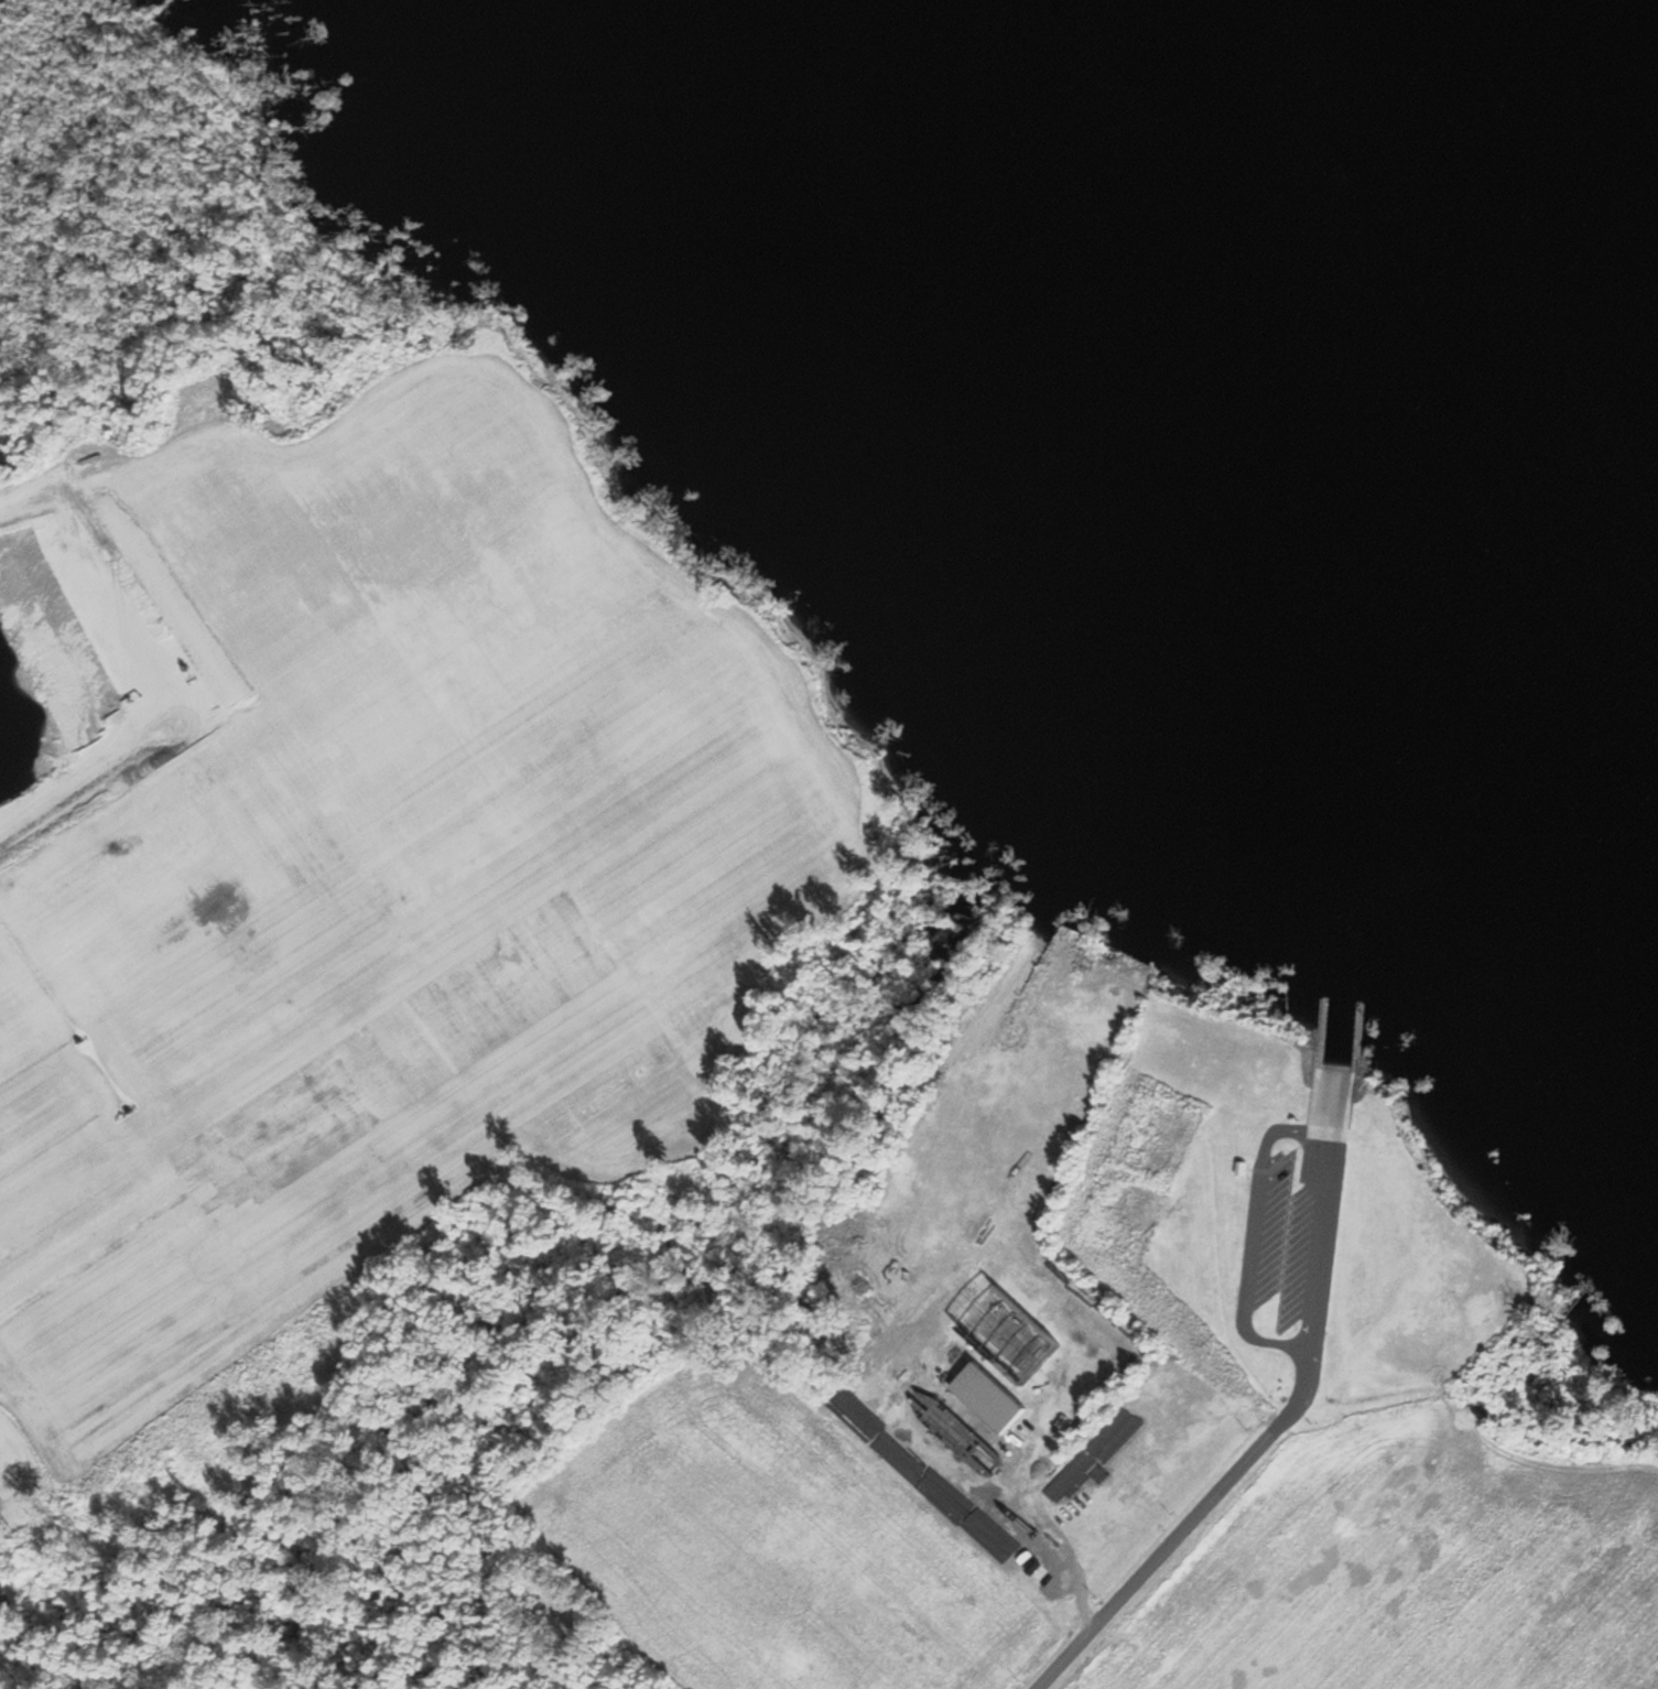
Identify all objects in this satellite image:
road: (1270, 1143)
road: (1308, 1374)
building: (991, 1406)
road: (1174, 1545)

